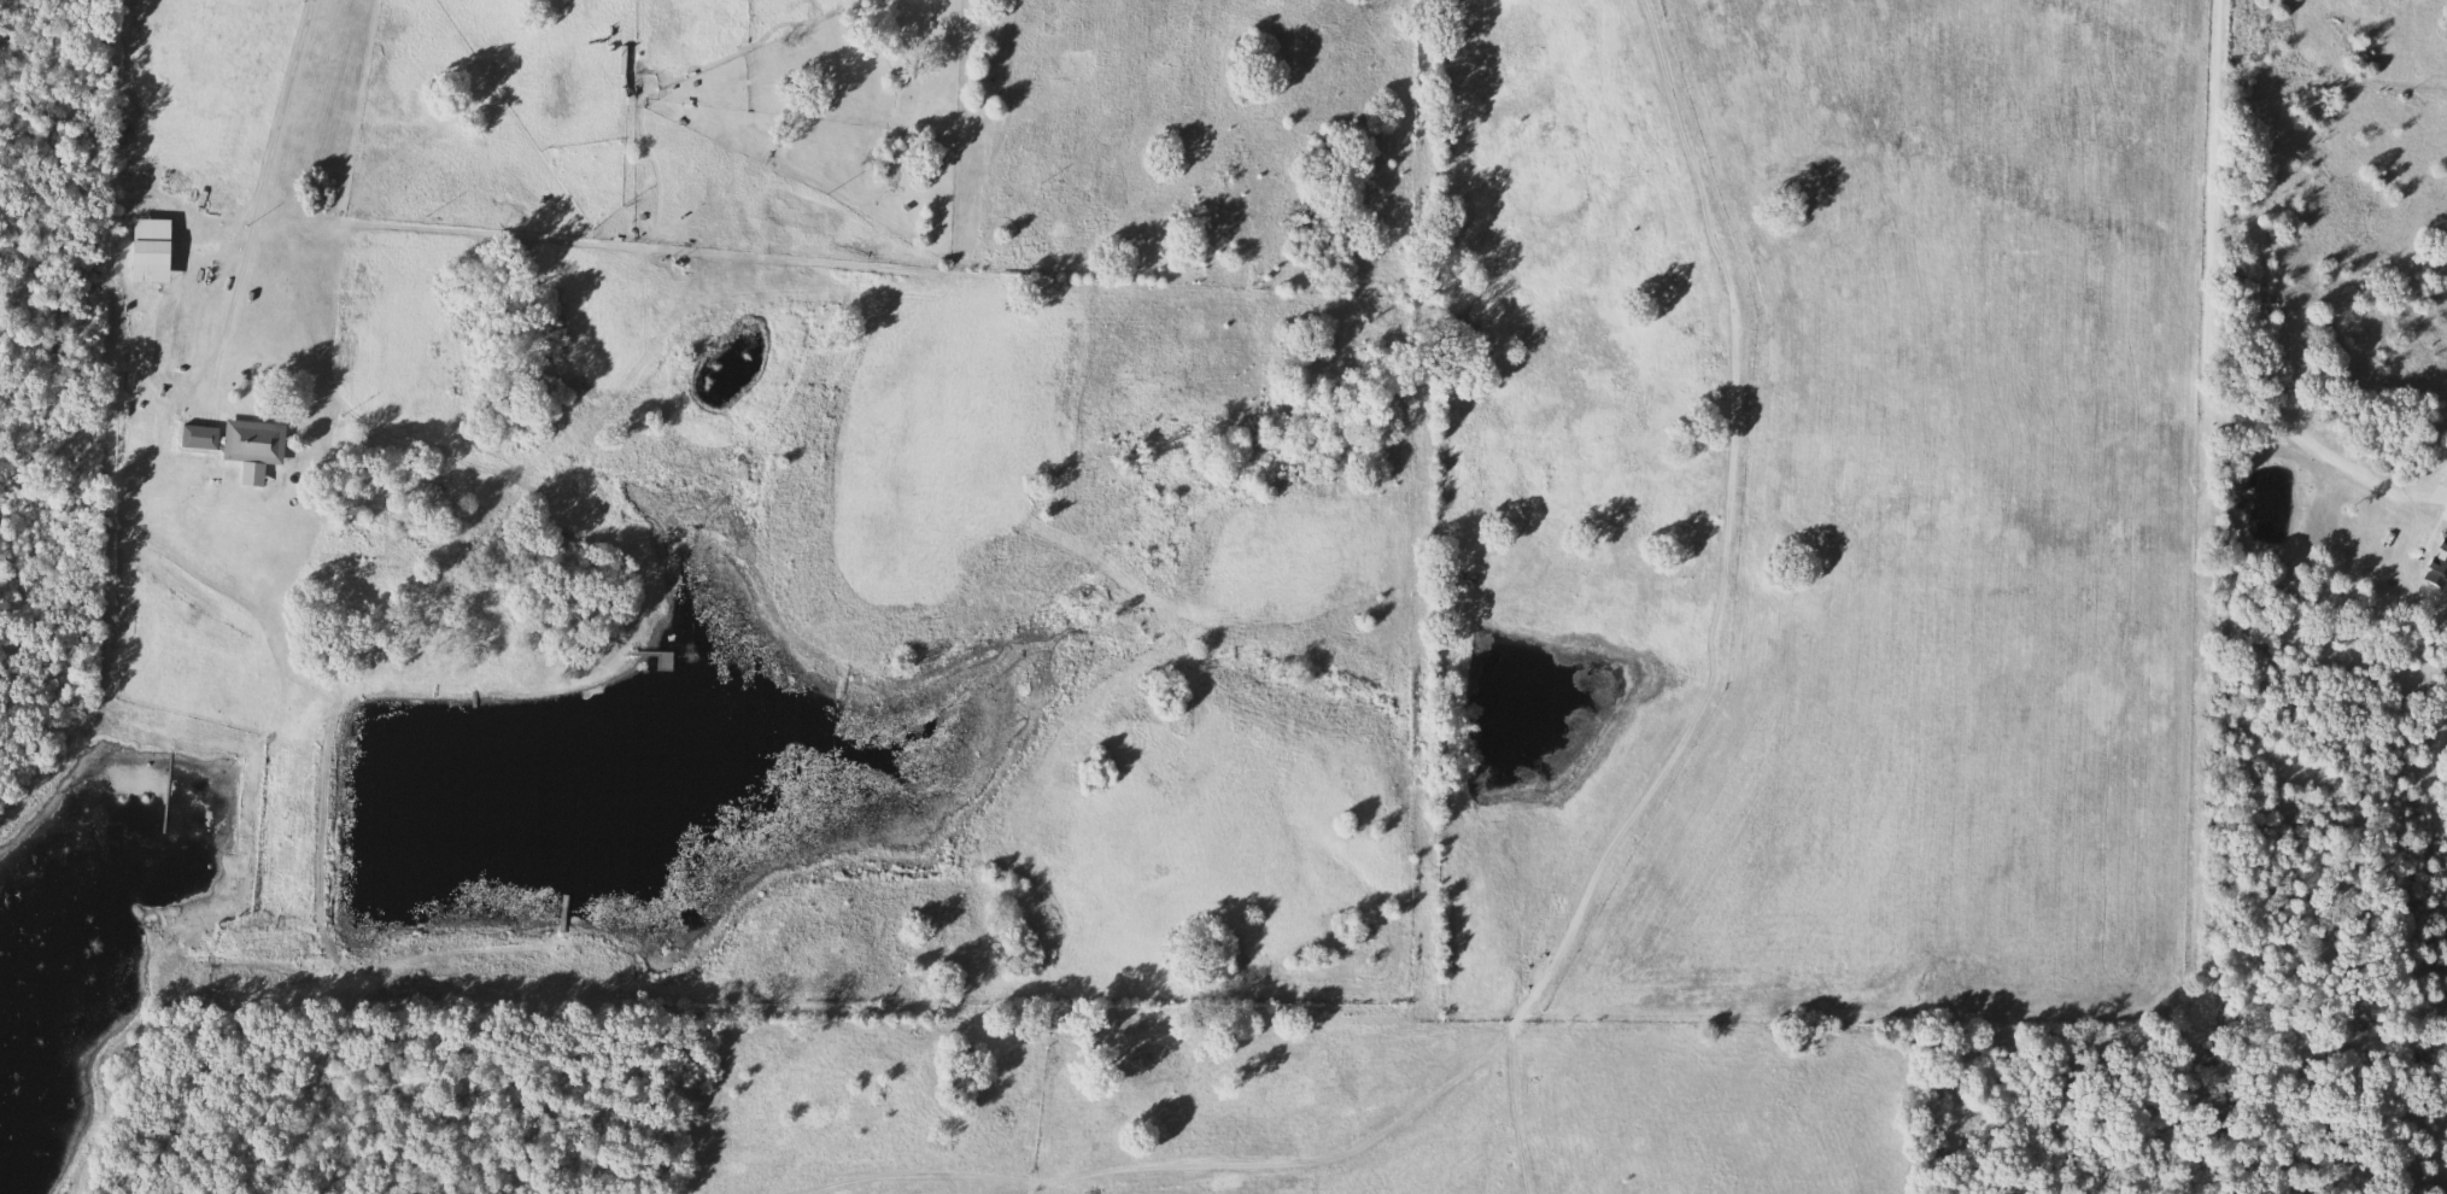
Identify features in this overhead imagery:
road: (260, 193)
building: (157, 261)
building: (203, 437)
building: (257, 441)
building: (252, 479)
road: (1652, 796)

